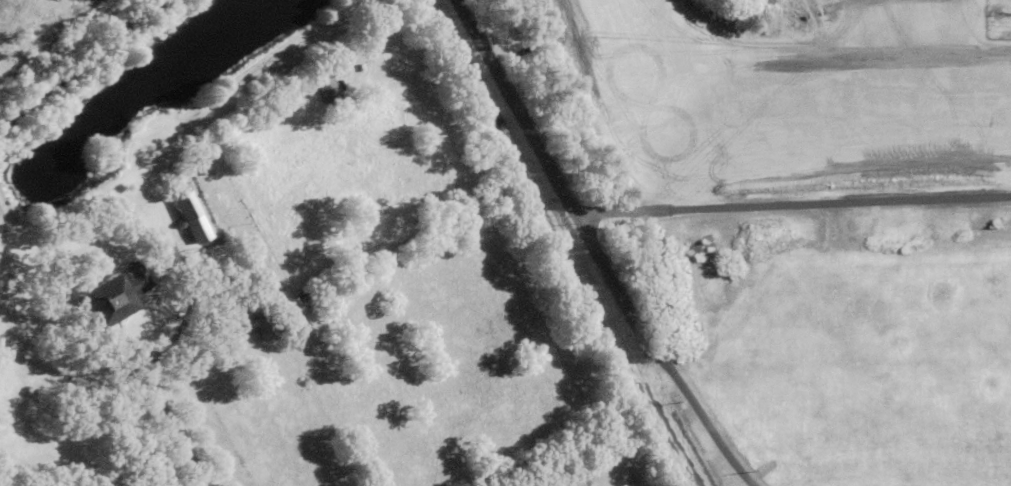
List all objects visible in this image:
building: (329, 90)
building: (193, 217)
road: (595, 249)
building: (219, 262)
building: (222, 270)
building: (113, 295)
building: (260, 326)
road: (165, 407)

